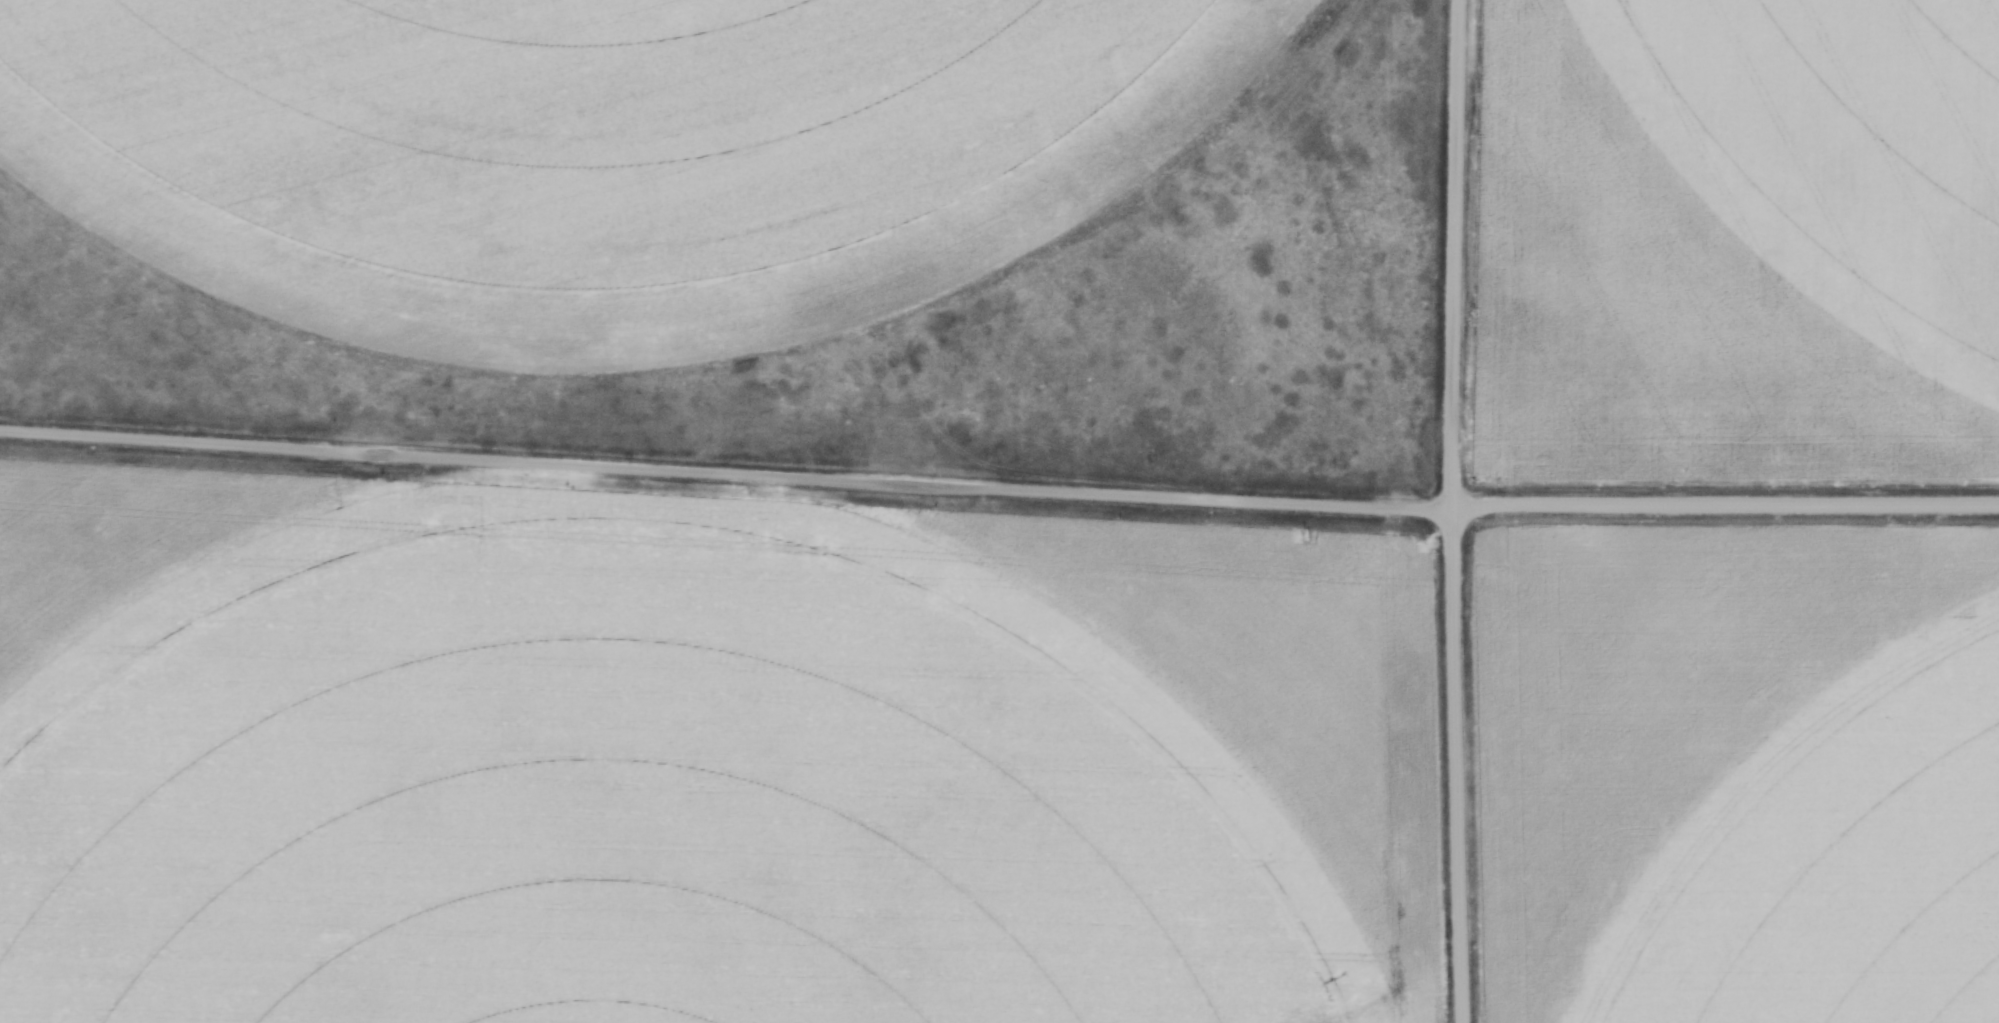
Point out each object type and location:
crop: (603, 153)
road: (999, 485)
road: (1453, 511)
crop: (634, 792)

